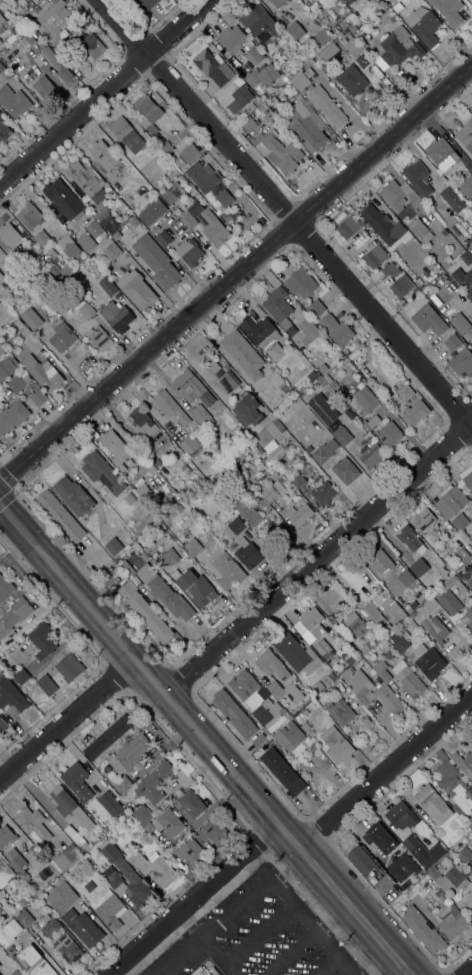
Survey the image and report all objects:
building: (304, 0)
building: (349, 1)
building: (386, 1)
building: (41, 3)
building: (279, 3)
building: (143, 5)
building: (397, 7)
building: (35, 9)
building: (448, 11)
building: (367, 14)
building: (53, 16)
building: (1, 24)
building: (260, 24)
building: (423, 26)
building: (20, 27)
building: (352, 28)
building: (295, 30)
building: (27, 32)
building: (12, 37)
building: (322, 37)
building: (232, 40)
building: (0, 41)
building: (92, 46)
building: (397, 48)
building: (353, 49)
building: (253, 51)
building: (327, 52)
building: (65, 60)
building: (56, 64)
building: (213, 67)
building: (3, 74)
building: (262, 79)
building: (351, 80)
building: (299, 81)
building: (43, 86)
road: (104, 91)
building: (295, 93)
building: (239, 98)
building: (13, 101)
building: (326, 106)
building: (147, 112)
building: (1, 114)
building: (272, 122)
building: (306, 123)
building: (248, 124)
building: (4, 131)
building: (126, 134)
building: (465, 134)
building: (156, 139)
building: (151, 147)
building: (166, 147)
building: (190, 152)
building: (282, 153)
building: (441, 154)
building: (102, 157)
building: (179, 162)
building: (203, 177)
building: (181, 178)
building: (418, 179)
building: (87, 181)
building: (466, 187)
building: (172, 192)
building: (145, 194)
building: (394, 194)
building: (223, 197)
building: (63, 198)
building: (454, 200)
building: (152, 211)
road: (285, 213)
building: (29, 216)
building: (226, 216)
building: (187, 219)
building: (106, 220)
building: (133, 221)
building: (381, 224)
building: (348, 227)
building: (94, 228)
building: (455, 228)
building: (420, 230)
building: (215, 231)
building: (363, 232)
building: (443, 232)
building: (9, 234)
building: (160, 235)
building: (41, 238)
building: (86, 242)
building: (68, 245)
building: (29, 249)
building: (111, 251)
building: (189, 252)
building: (374, 256)
building: (467, 256)
building: (447, 259)
building: (162, 267)
building: (285, 268)
building: (390, 269)
road: (236, 273)
building: (2, 280)
building: (464, 280)
building: (47, 281)
building: (300, 283)
building: (400, 286)
building: (107, 287)
building: (136, 290)
building: (414, 290)
building: (1, 299)
building: (38, 302)
building: (278, 307)
building: (315, 307)
building: (86, 309)
building: (116, 316)
building: (31, 319)
building: (427, 319)
building: (14, 324)
building: (461, 325)
building: (336, 329)
building: (308, 330)
building: (260, 332)
building: (471, 336)
building: (62, 337)
building: (99, 338)
building: (31, 341)
building: (453, 342)
building: (471, 345)
building: (471, 346)
building: (243, 354)
building: (461, 362)
building: (7, 367)
building: (322, 367)
building: (42, 372)
building: (313, 375)
building: (321, 381)
building: (17, 382)
building: (334, 385)
building: (283, 387)
building: (192, 388)
building: (405, 391)
building: (66, 393)
building: (38, 397)
building: (366, 399)
building: (170, 406)
building: (323, 409)
building: (248, 410)
building: (349, 413)
building: (415, 413)
building: (200, 415)
building: (12, 416)
building: (373, 421)
building: (141, 422)
building: (389, 434)
building: (269, 435)
building: (342, 435)
building: (191, 446)
building: (298, 448)
building: (116, 449)
building: (281, 449)
building: (309, 449)
building: (324, 451)
building: (371, 455)
building: (236, 456)
building: (265, 458)
building: (185, 460)
building: (345, 470)
building: (102, 472)
building: (226, 472)
building: (467, 476)
building: (297, 479)
building: (283, 482)
building: (144, 493)
building: (268, 493)
building: (323, 493)
building: (73, 496)
building: (450, 501)
building: (141, 510)
building: (245, 510)
building: (299, 514)
building: (470, 514)
building: (60, 516)
building: (423, 520)
road: (15, 522)
building: (460, 522)
building: (233, 528)
building: (428, 534)
building: (410, 539)
building: (113, 546)
building: (193, 546)
building: (247, 553)
building: (463, 553)
building: (167, 558)
road: (319, 560)
building: (379, 560)
building: (419, 567)
building: (128, 568)
building: (226, 568)
building: (405, 578)
building: (468, 583)
building: (5, 587)
building: (195, 587)
building: (165, 593)
building: (451, 597)
building: (427, 606)
building: (390, 608)
building: (145, 611)
building: (373, 614)
building: (14, 615)
building: (464, 619)
building: (312, 621)
building: (354, 624)
building: (435, 629)
building: (385, 632)
building: (42, 640)
building: (399, 640)
building: (425, 640)
building: (371, 643)
building: (323, 648)
building: (296, 653)
building: (350, 659)
building: (429, 661)
building: (271, 664)
building: (69, 667)
building: (382, 671)
building: (21, 676)
building: (331, 676)
building: (408, 679)
building: (46, 684)
building: (243, 684)
building: (317, 686)
building: (369, 688)
building: (284, 691)
building: (11, 694)
building: (266, 703)
road: (63, 706)
building: (274, 709)
building: (339, 711)
building: (234, 713)
building: (299, 715)
building: (276, 721)
building: (2, 725)
building: (304, 726)
building: (264, 731)
building: (107, 737)
building: (289, 737)
building: (258, 740)
building: (336, 745)
building: (312, 747)
building: (130, 754)
road: (220, 757)
building: (463, 762)
building: (282, 771)
road: (387, 772)
building: (77, 780)
building: (153, 783)
building: (123, 785)
building: (455, 788)
building: (189, 803)
building: (432, 803)
building: (109, 804)
building: (142, 814)
building: (401, 815)
building: (84, 821)
building: (165, 823)
building: (32, 825)
building: (107, 827)
building: (214, 831)
building: (6, 836)
building: (381, 838)
building: (410, 842)
building: (440, 845)
building: (191, 851)
building: (464, 854)
building: (431, 855)
building: (64, 858)
building: (444, 858)
building: (137, 859)
building: (17, 862)
building: (364, 863)
building: (401, 865)
building: (161, 869)
building: (5, 875)
building: (111, 875)
building: (471, 876)
building: (448, 877)
building: (404, 885)
building: (37, 887)
road: (252, 896)
building: (61, 897)
road: (191, 898)
building: (108, 909)
building: (4, 915)
building: (24, 918)
building: (49, 925)
building: (453, 926)
building: (83, 927)
building: (423, 930)
building: (9, 932)
road: (310, 940)
road: (200, 945)
building: (67, 948)
road: (216, 959)
building: (31, 961)
building: (61, 964)
road: (385, 966)
road: (465, 969)
building: (205, 971)
building: (15, 973)

